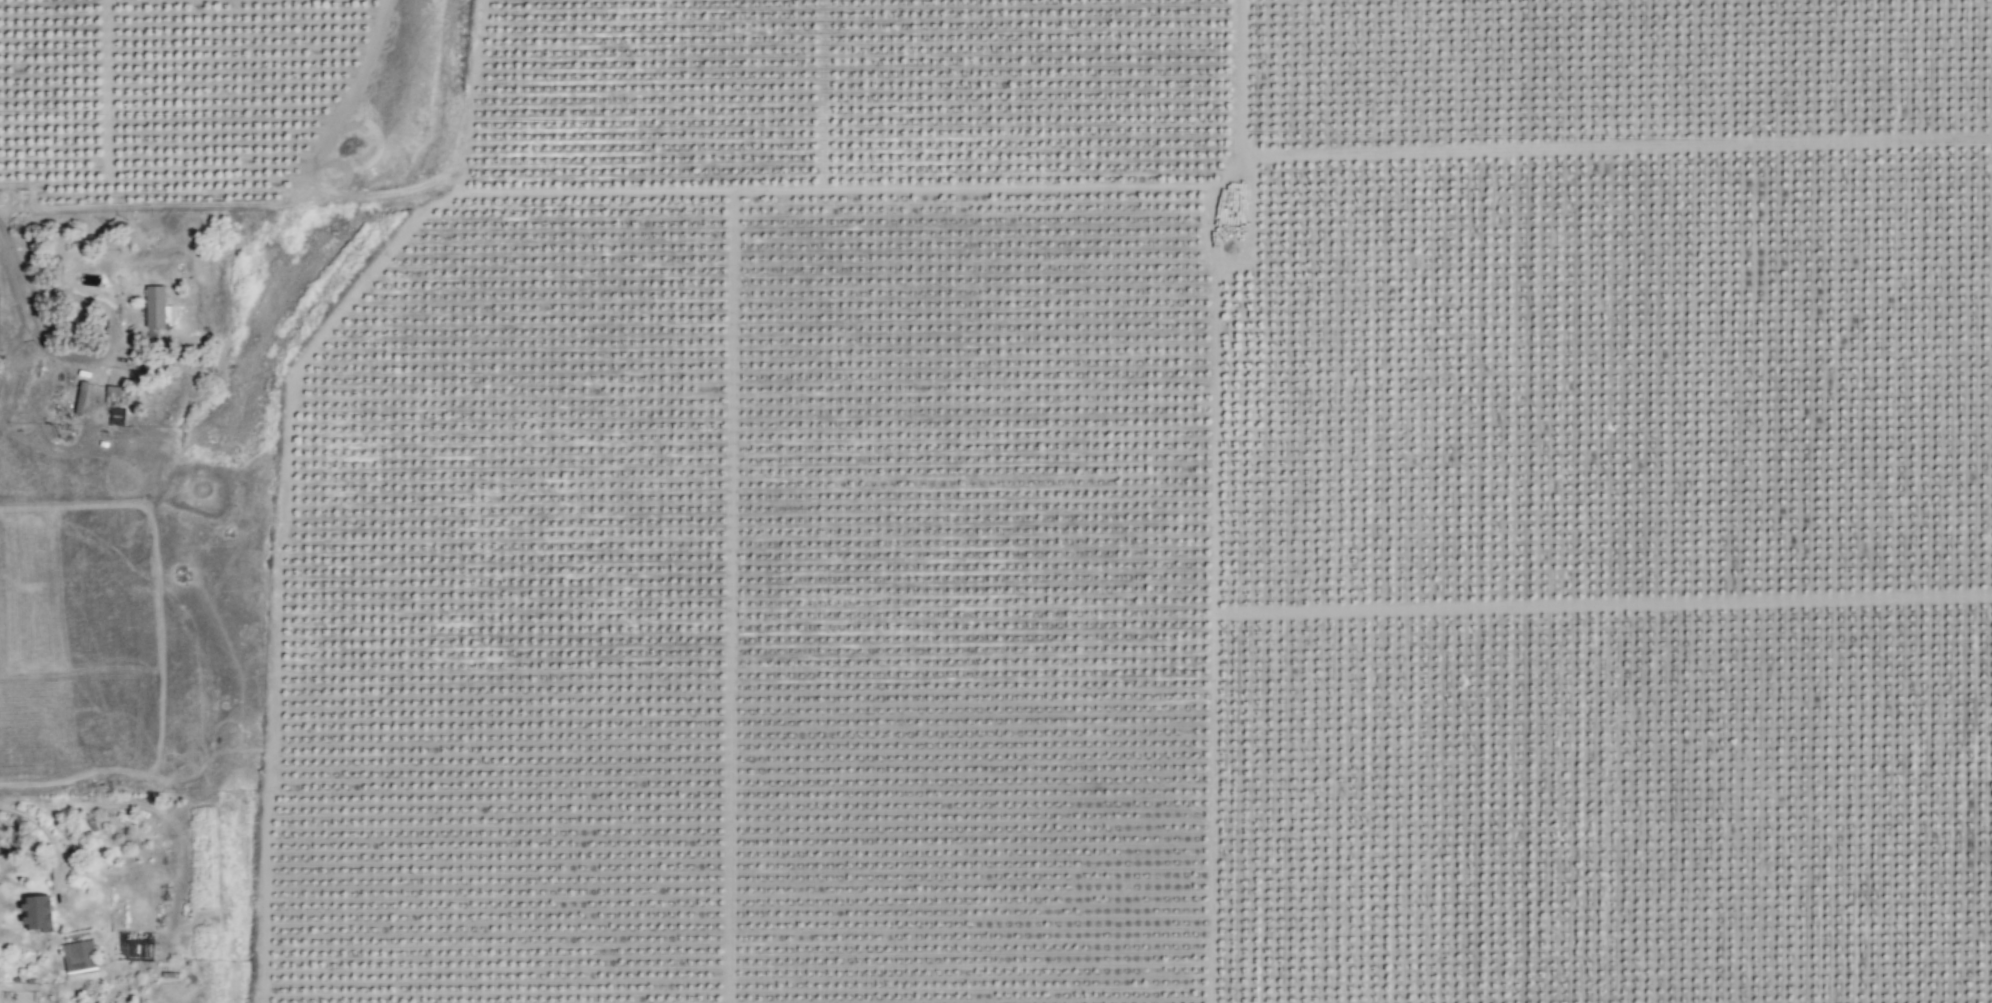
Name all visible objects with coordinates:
road: (128, 236)
building: (153, 307)
building: (112, 393)
road: (143, 802)
road: (47, 831)
building: (33, 913)
building: (77, 958)

